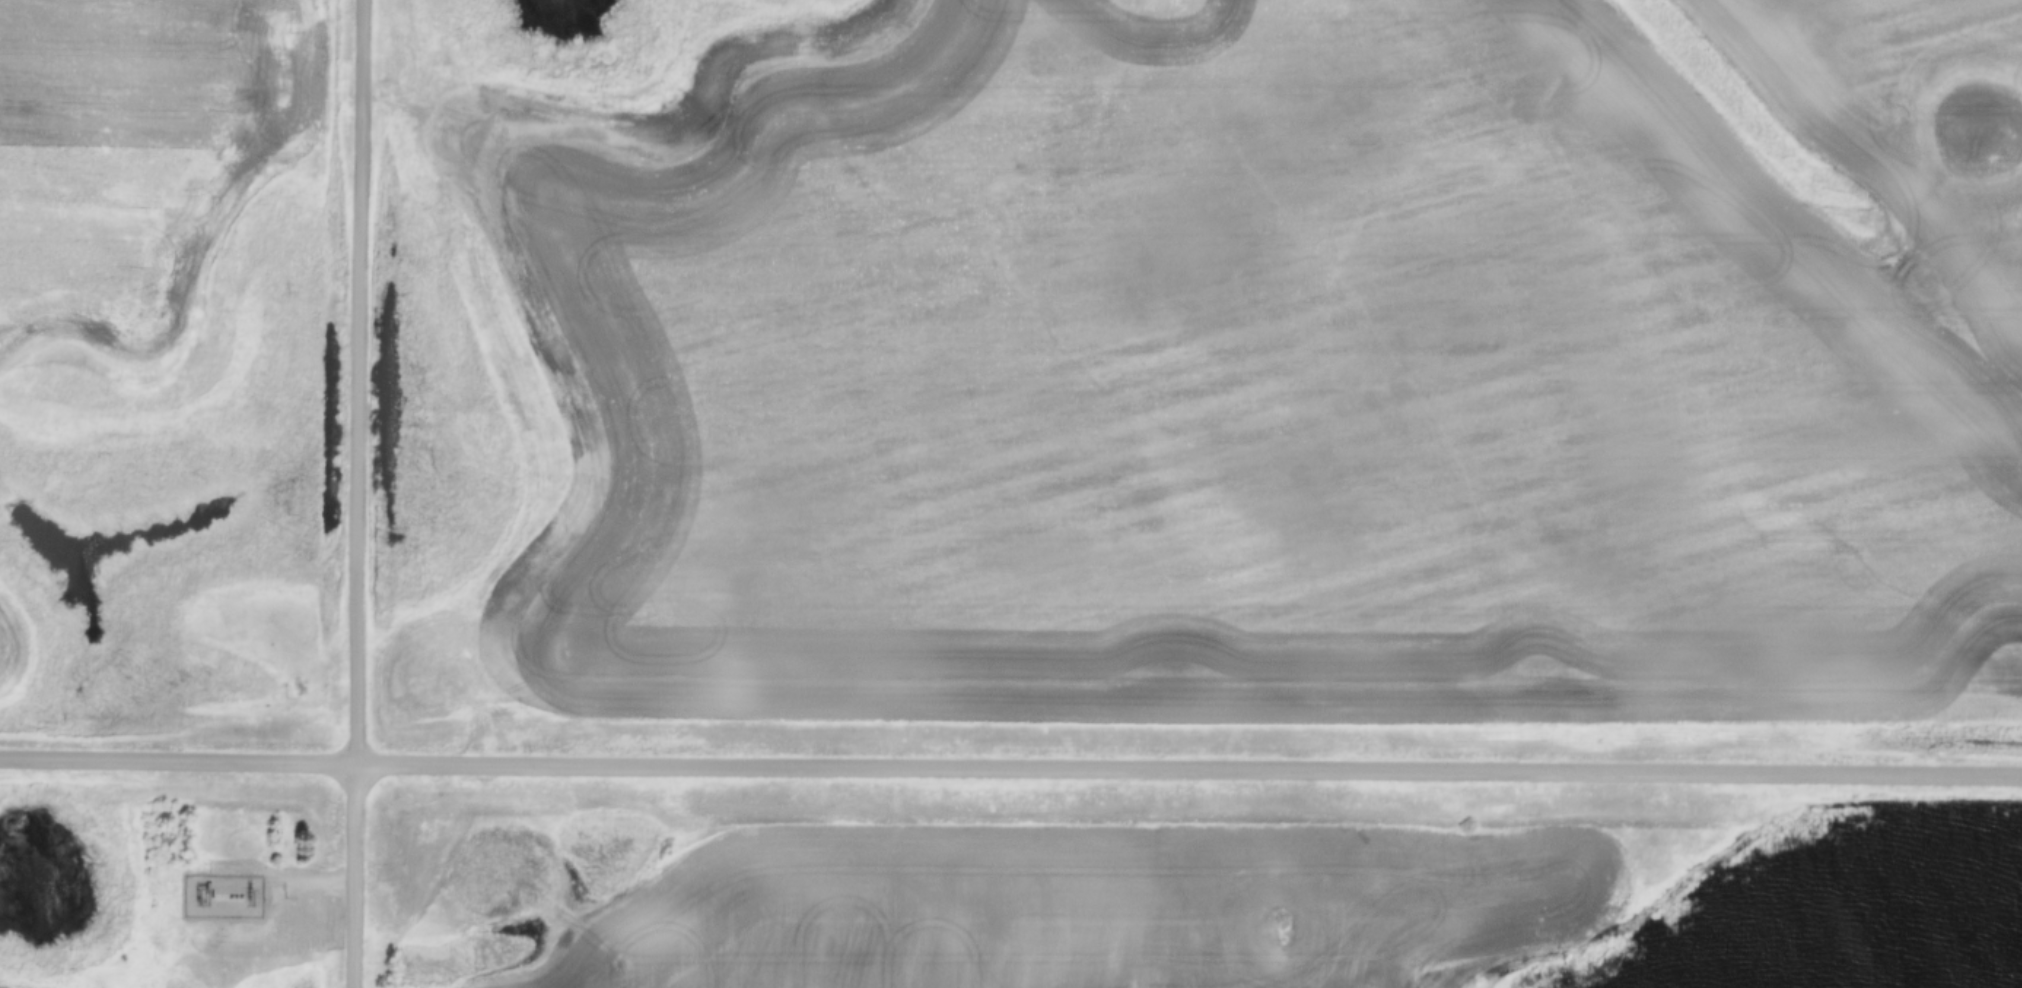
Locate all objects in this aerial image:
road: (361, 494)
road: (180, 760)
road: (1190, 770)
road: (296, 881)
building: (206, 884)
power substation: (220, 895)

